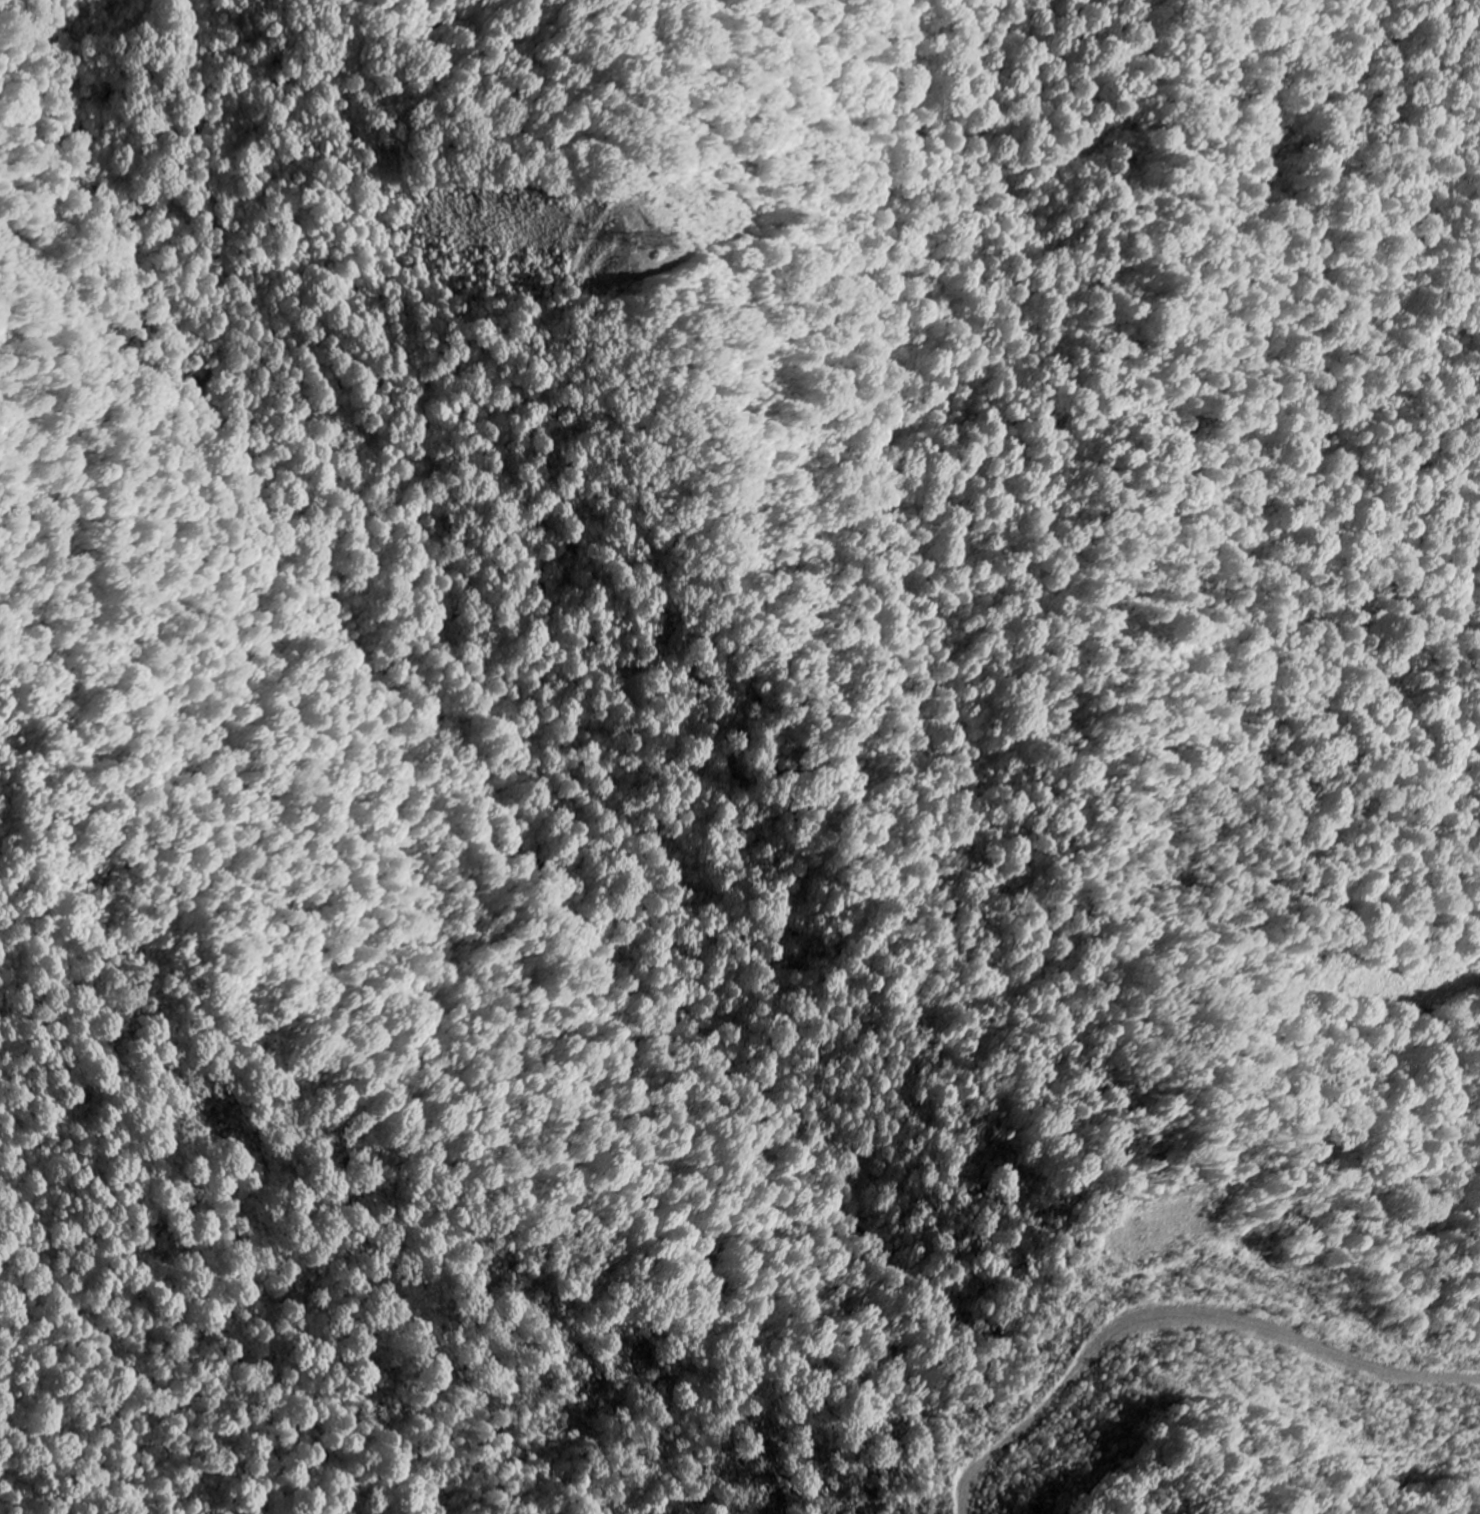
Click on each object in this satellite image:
road: (1226, 1329)

